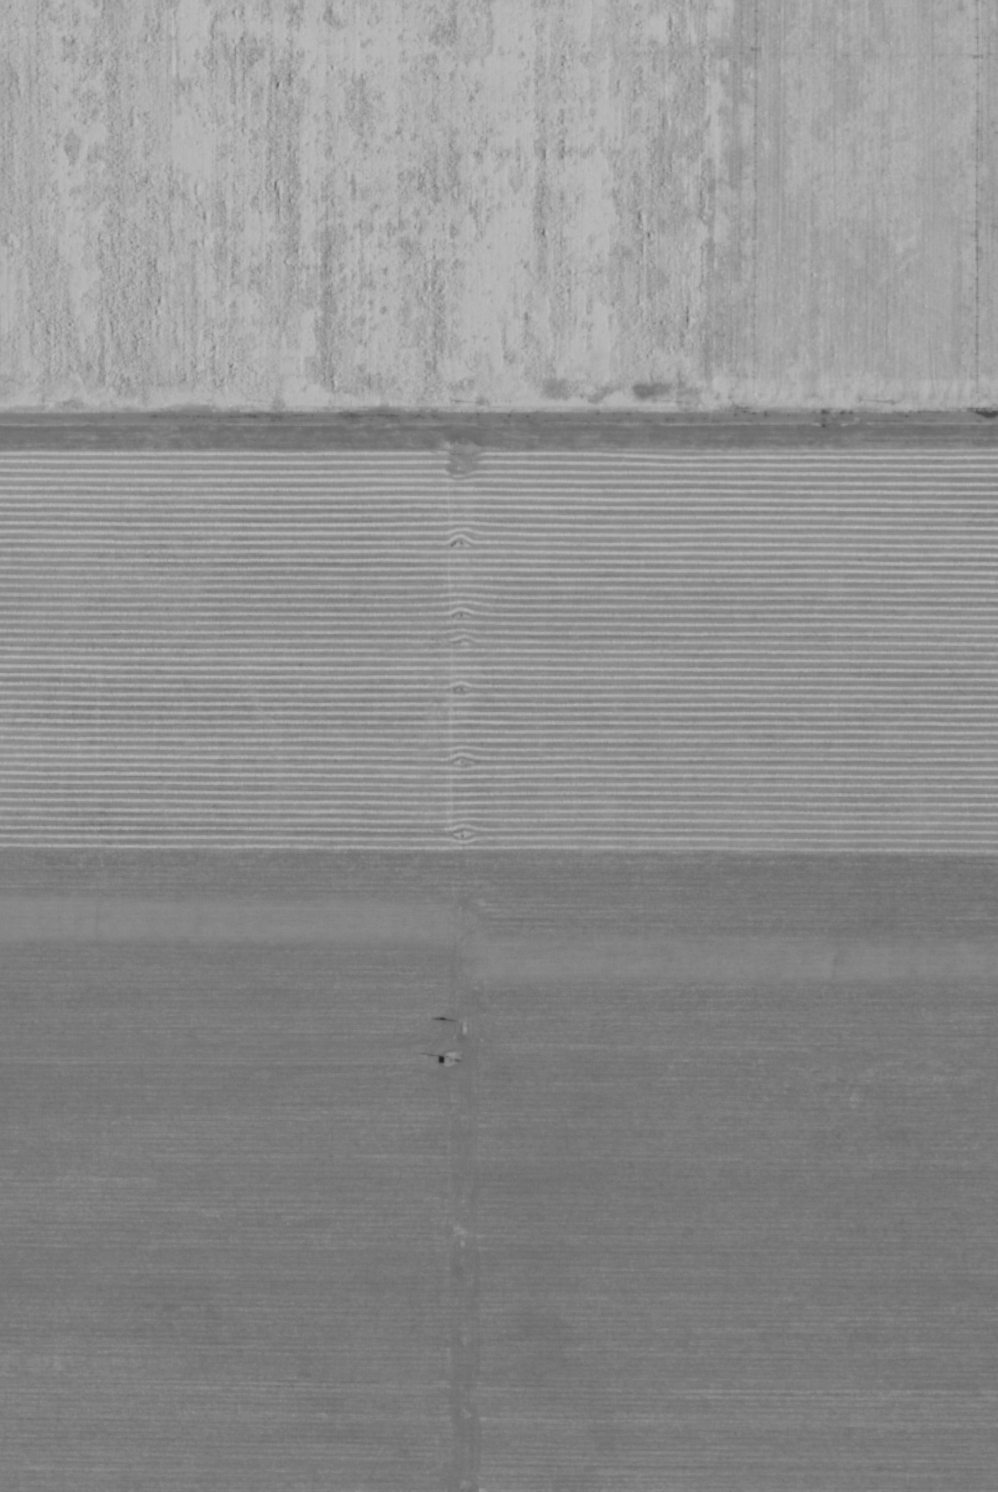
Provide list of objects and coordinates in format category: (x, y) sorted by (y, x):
road: (499, 420)
crop: (499, 746)

